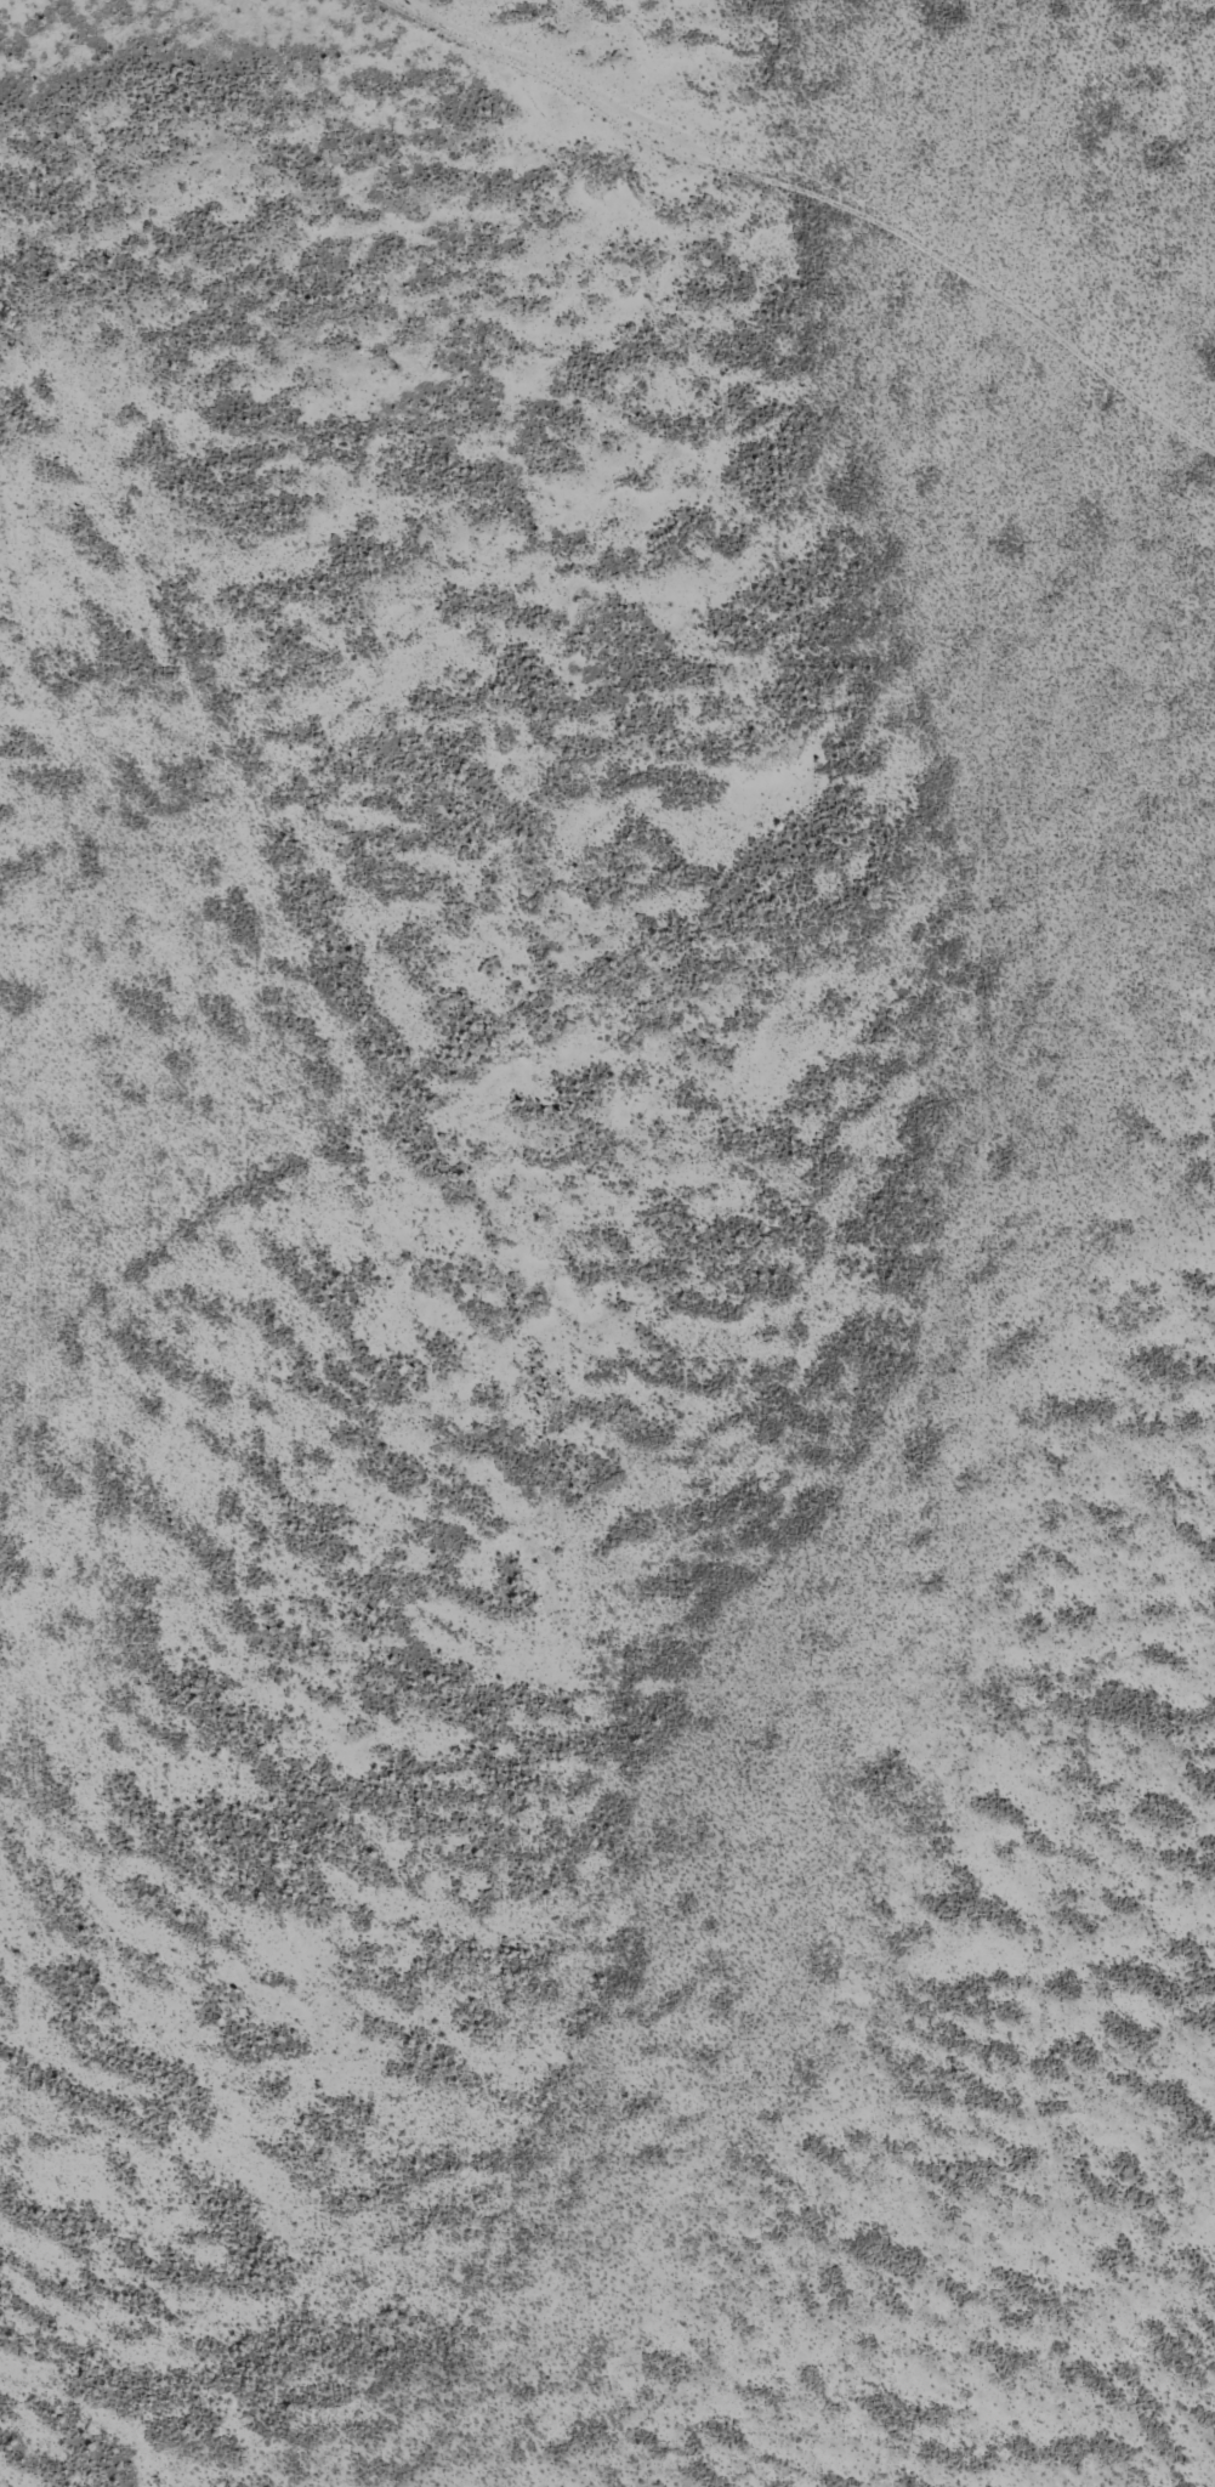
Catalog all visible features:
road: (874, 191)

